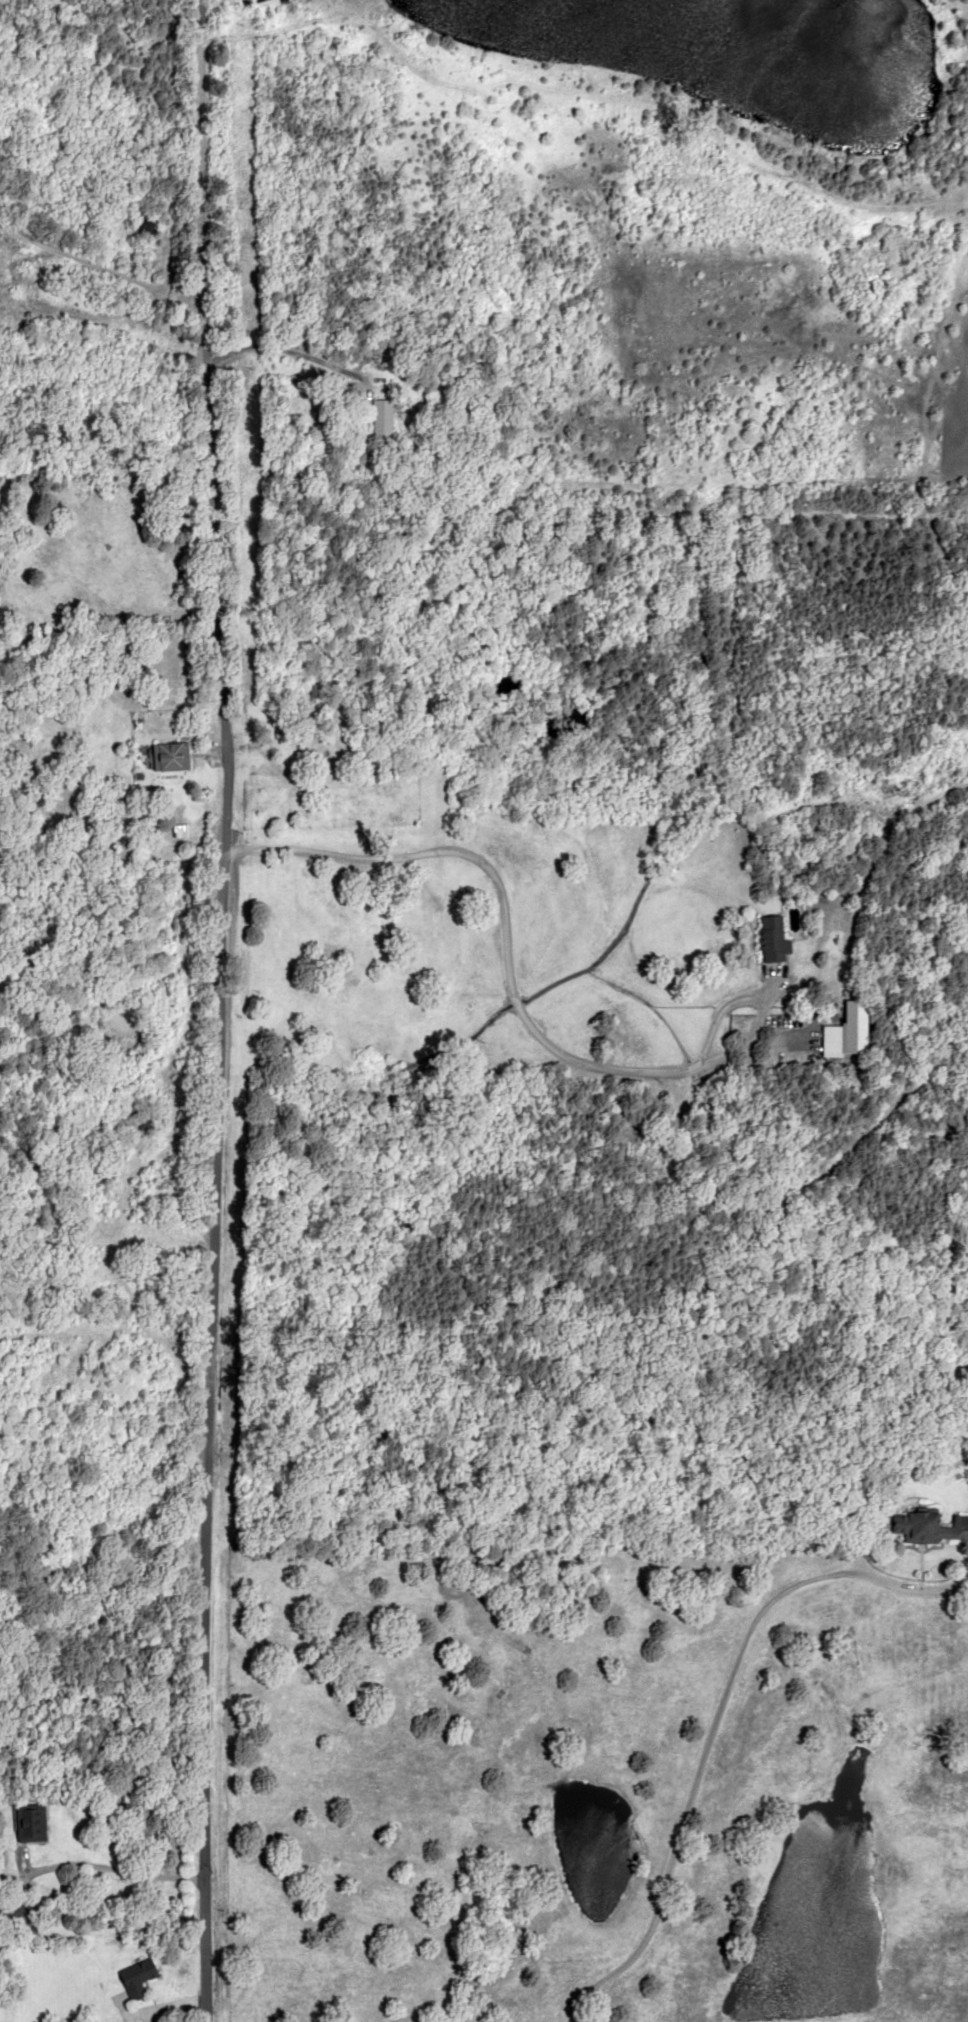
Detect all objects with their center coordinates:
building: (144, 222)
road: (98, 265)
road: (268, 349)
building: (381, 415)
building: (170, 756)
building: (771, 939)
road: (503, 970)
road: (218, 1010)
building: (849, 1020)
building: (831, 1041)
building: (929, 1528)
road: (712, 1727)
building: (30, 1823)
building: (19, 1916)
building: (137, 1979)

